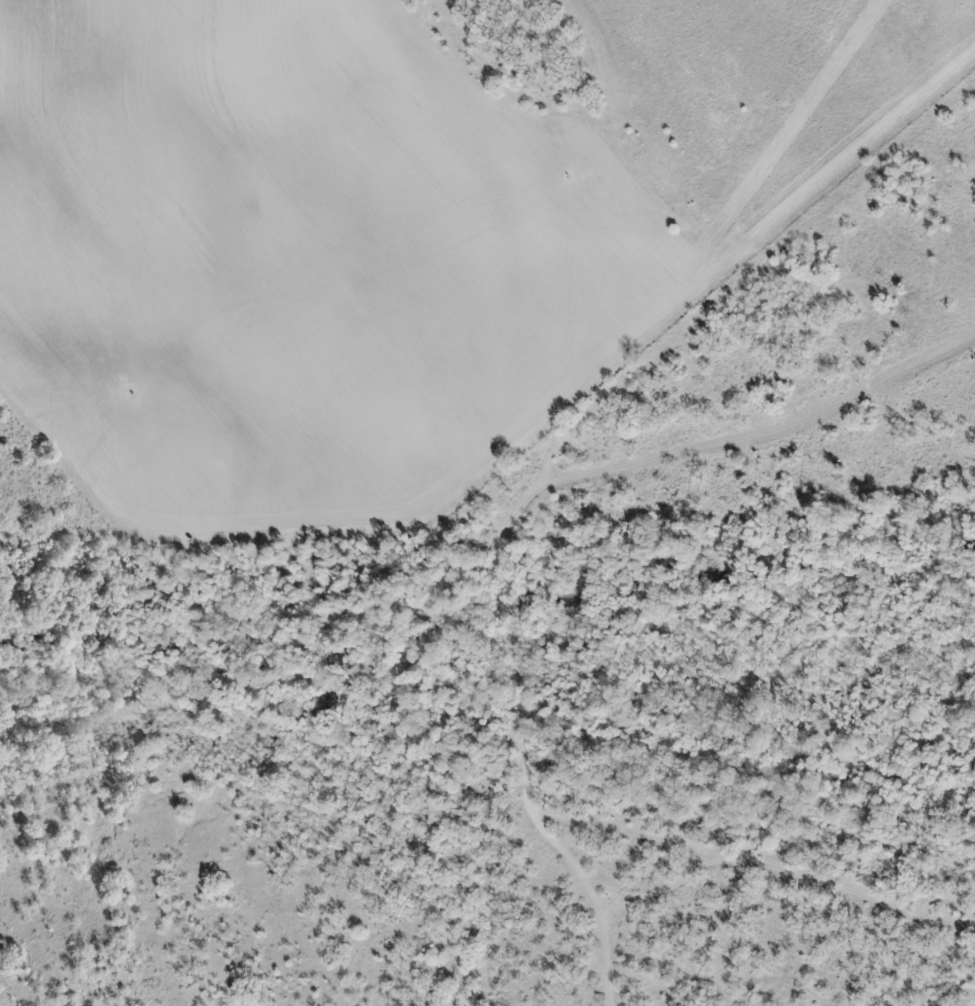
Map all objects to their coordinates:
river: (659, 589)
river: (173, 666)

